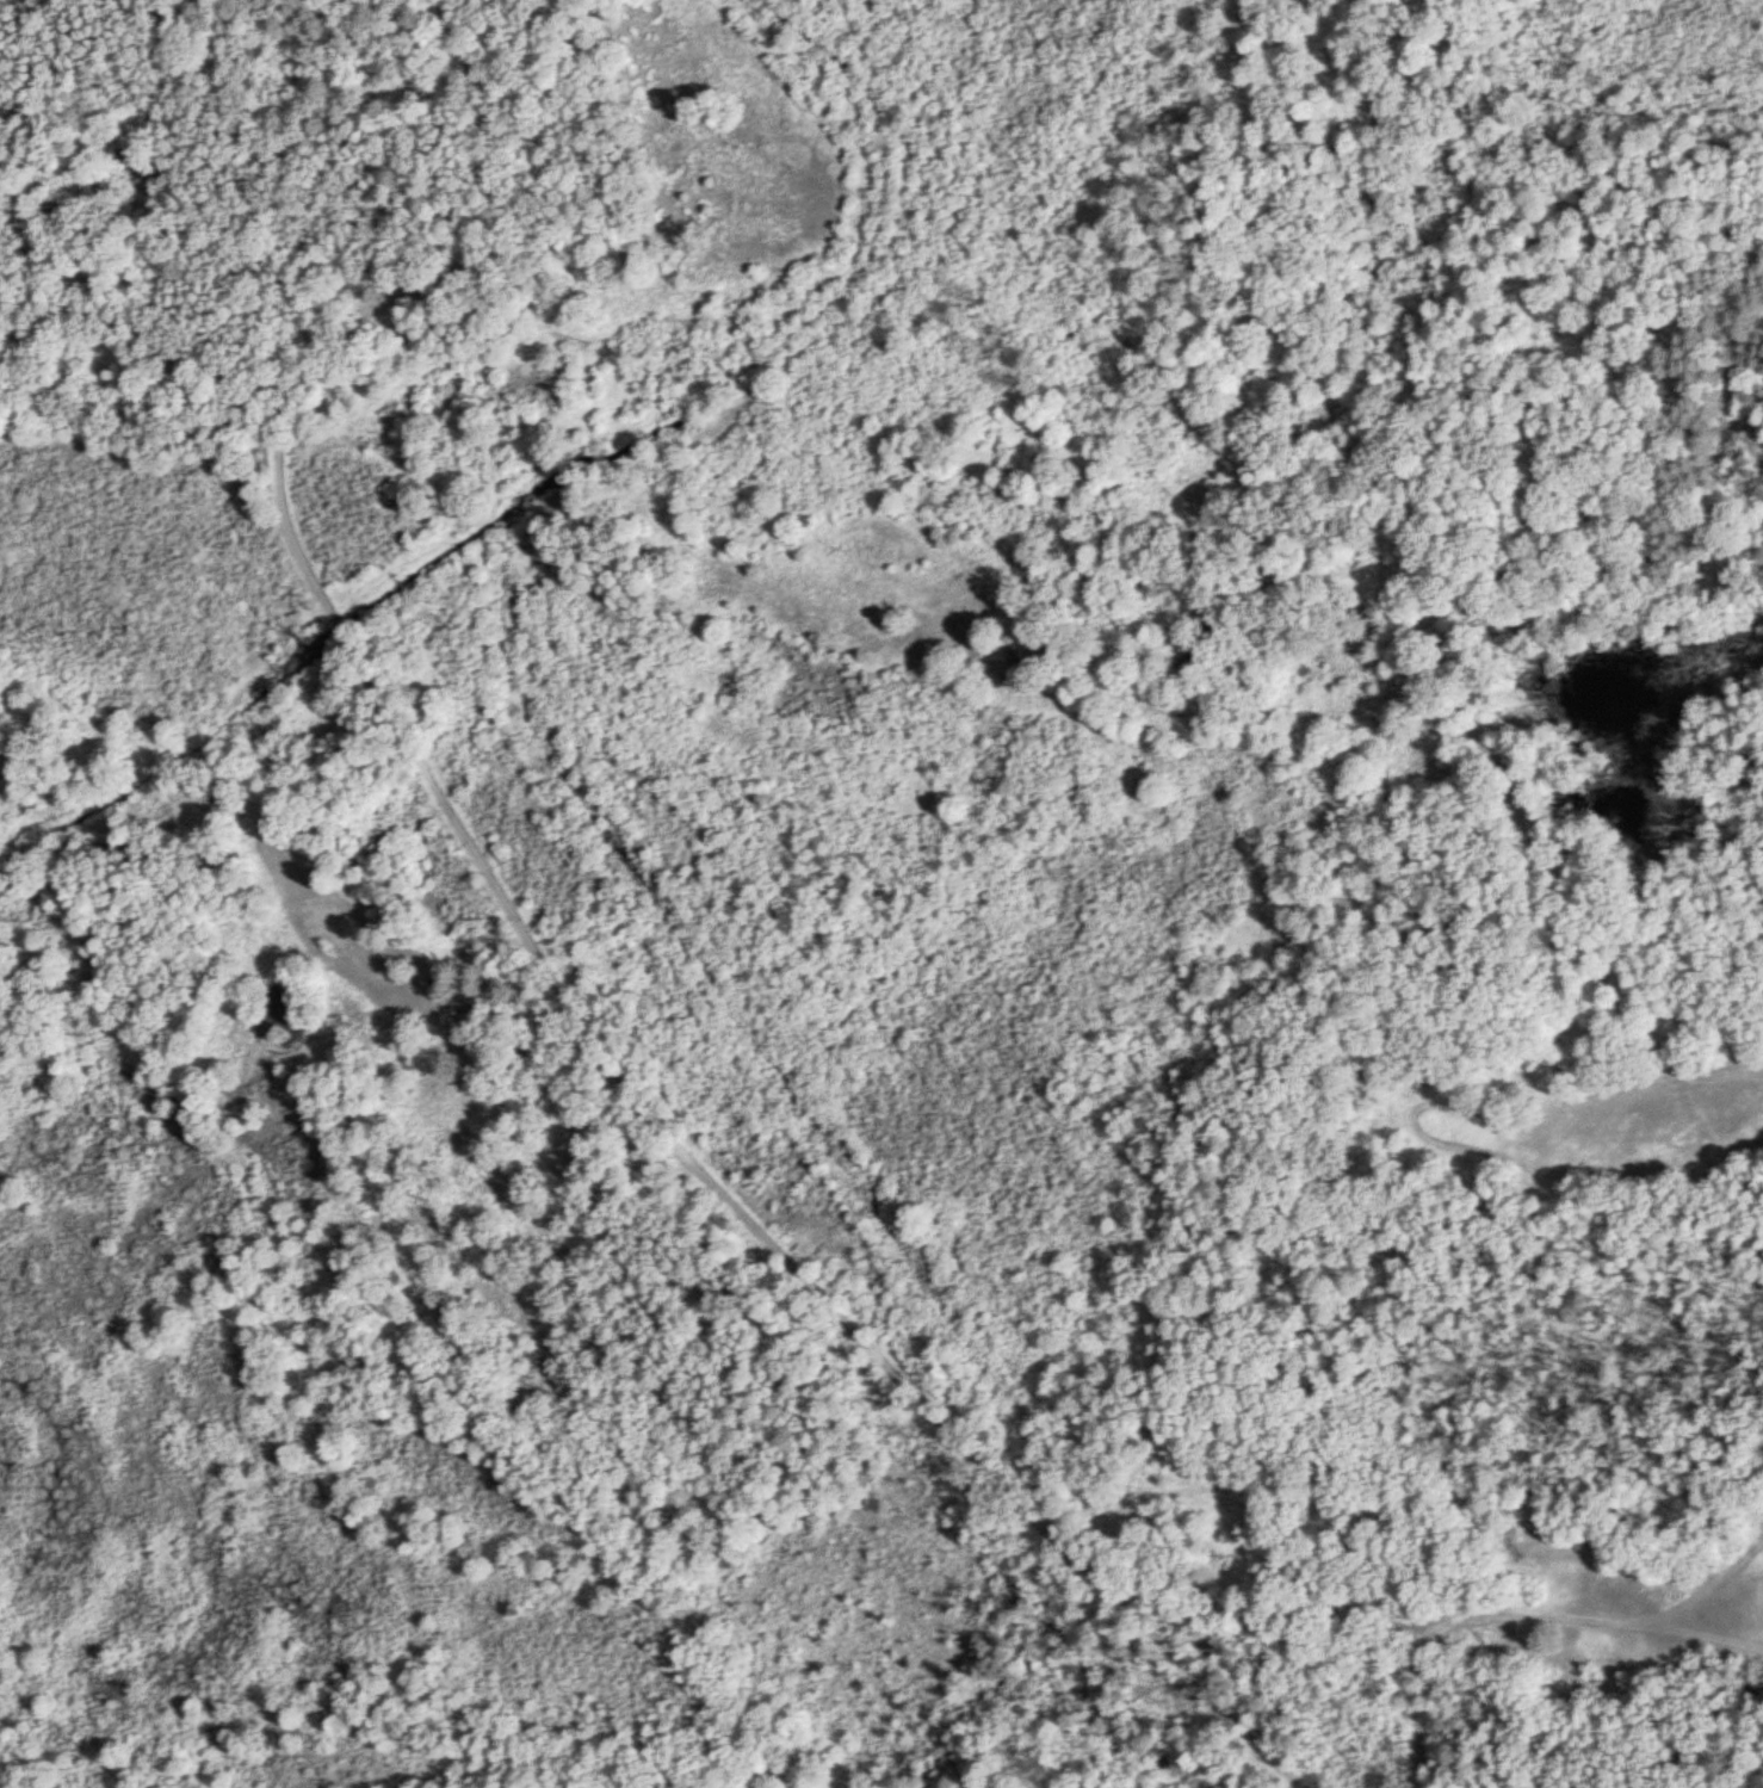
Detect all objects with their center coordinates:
road: (407, 296)
road: (327, 600)
road: (774, 1254)
road: (1527, 1616)

